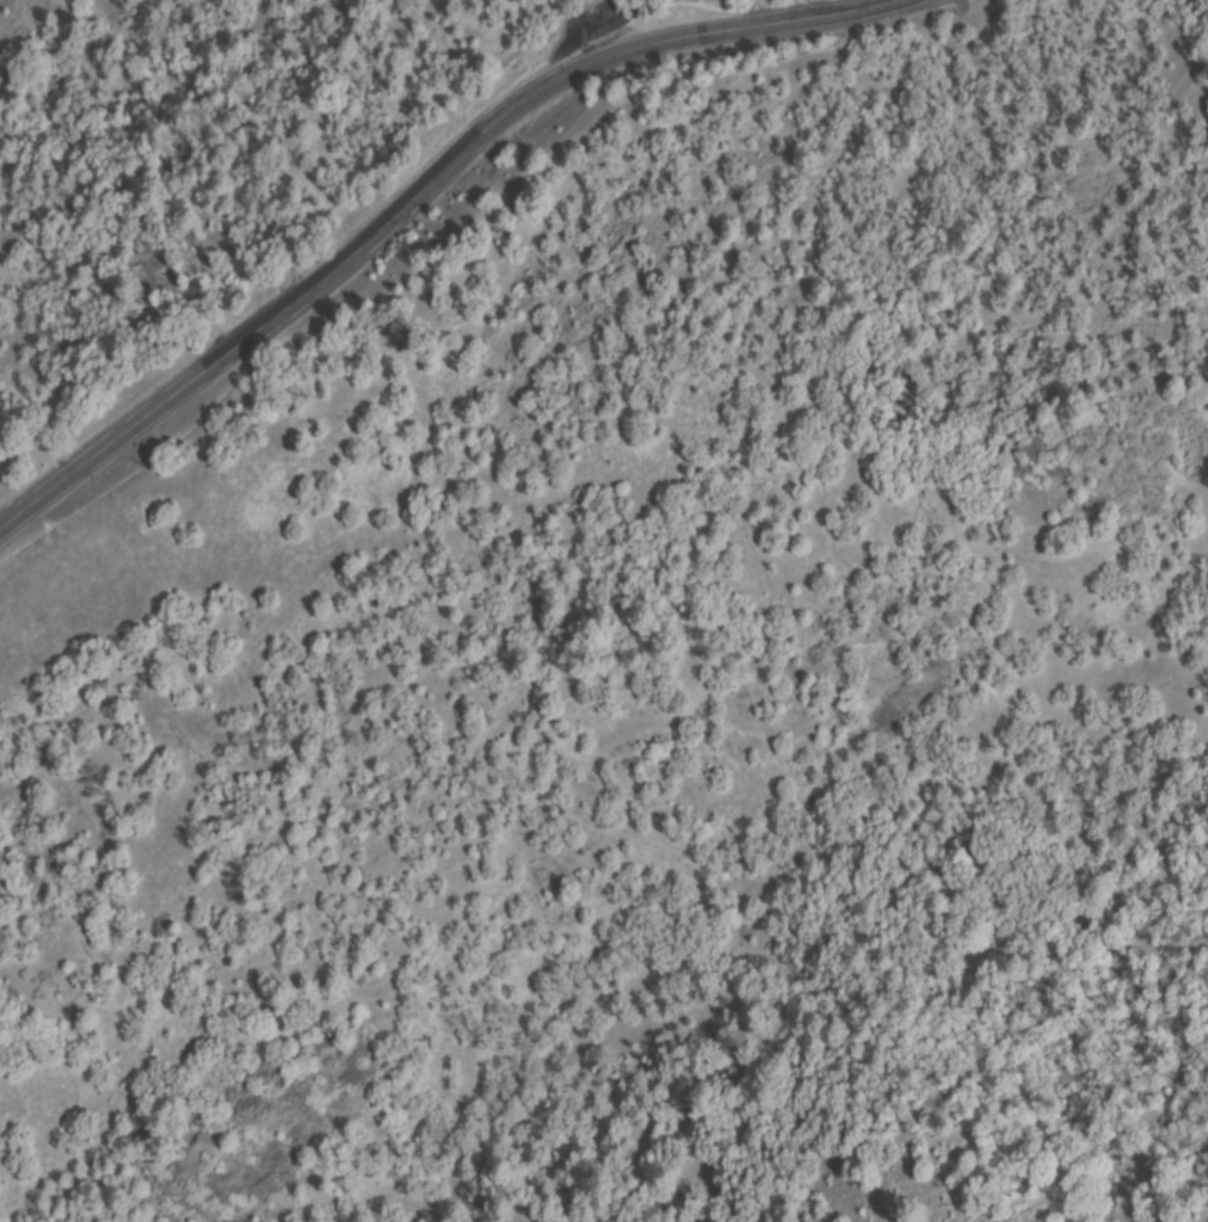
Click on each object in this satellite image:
road: (417, 193)

